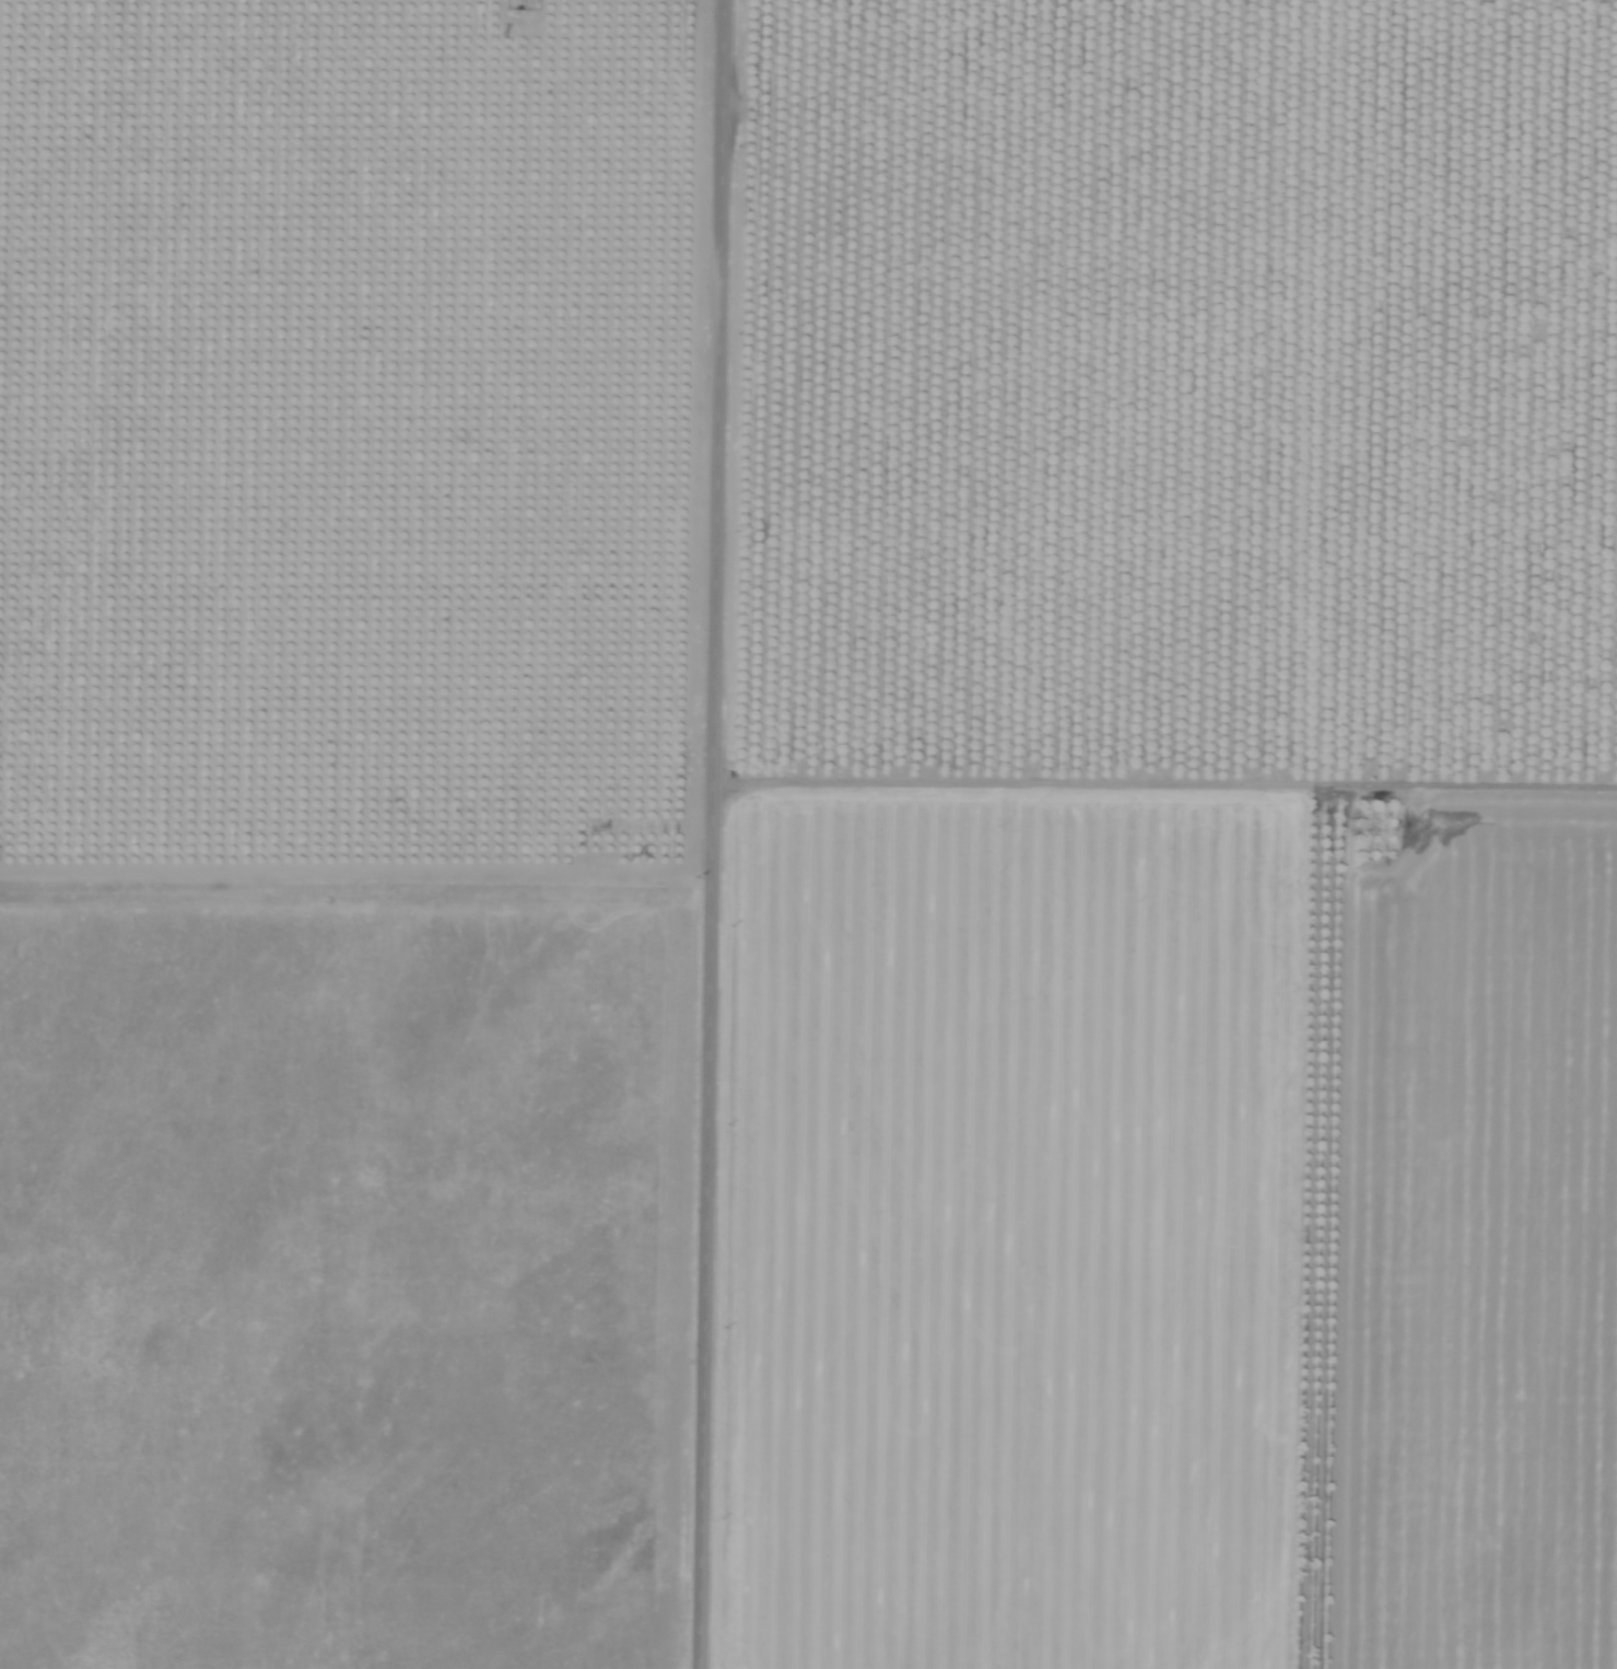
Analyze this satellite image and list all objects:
road: (1169, 783)
road: (719, 833)
crop: (808, 834)

